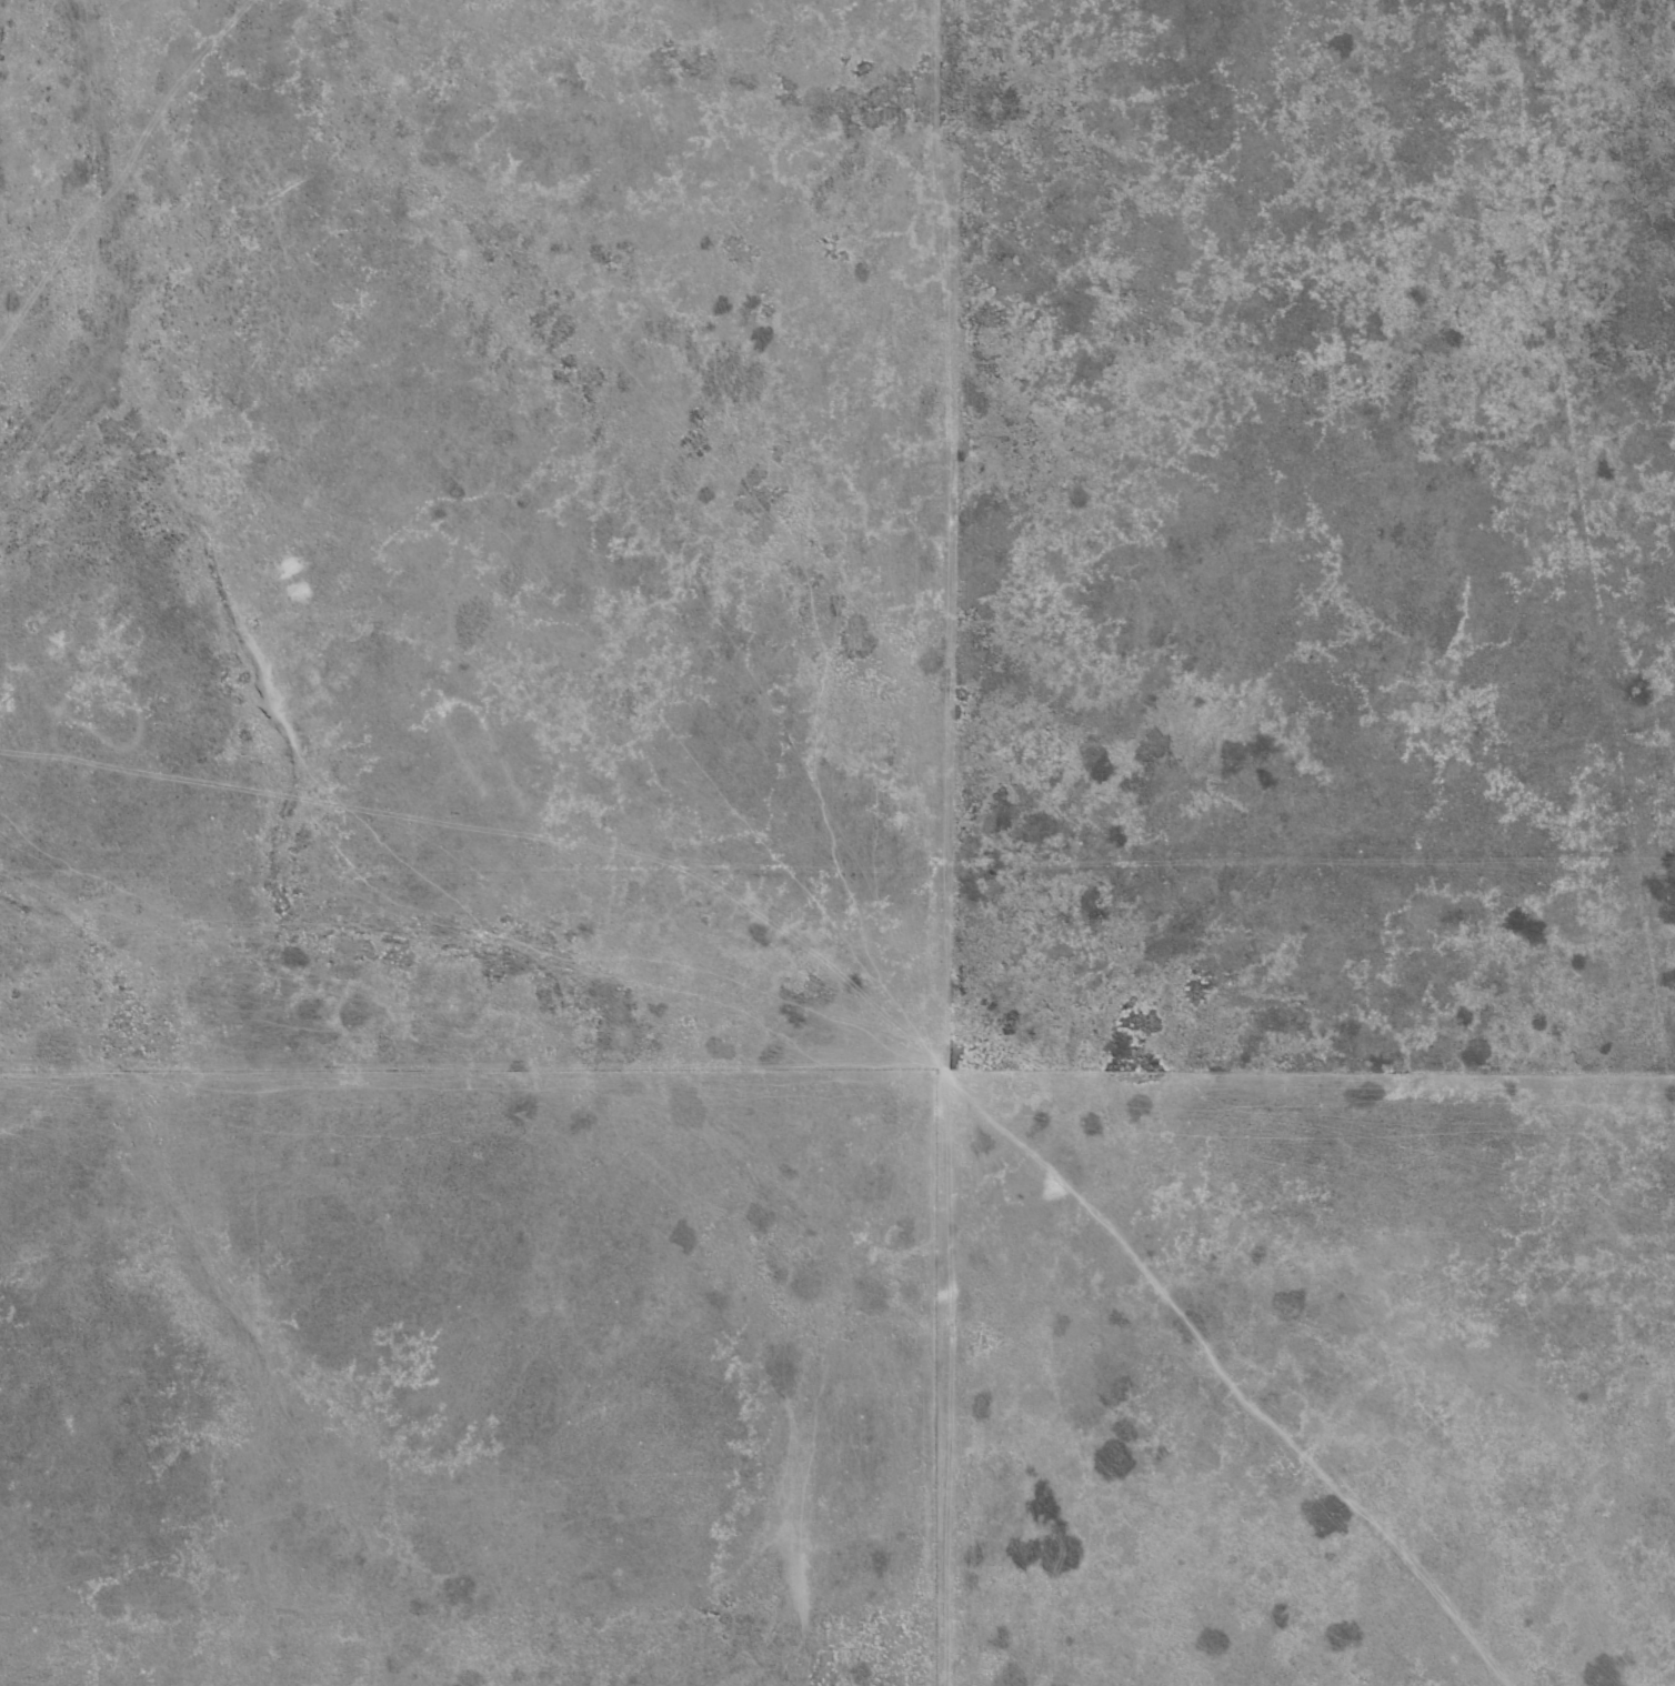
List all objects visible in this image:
road: (950, 1404)

